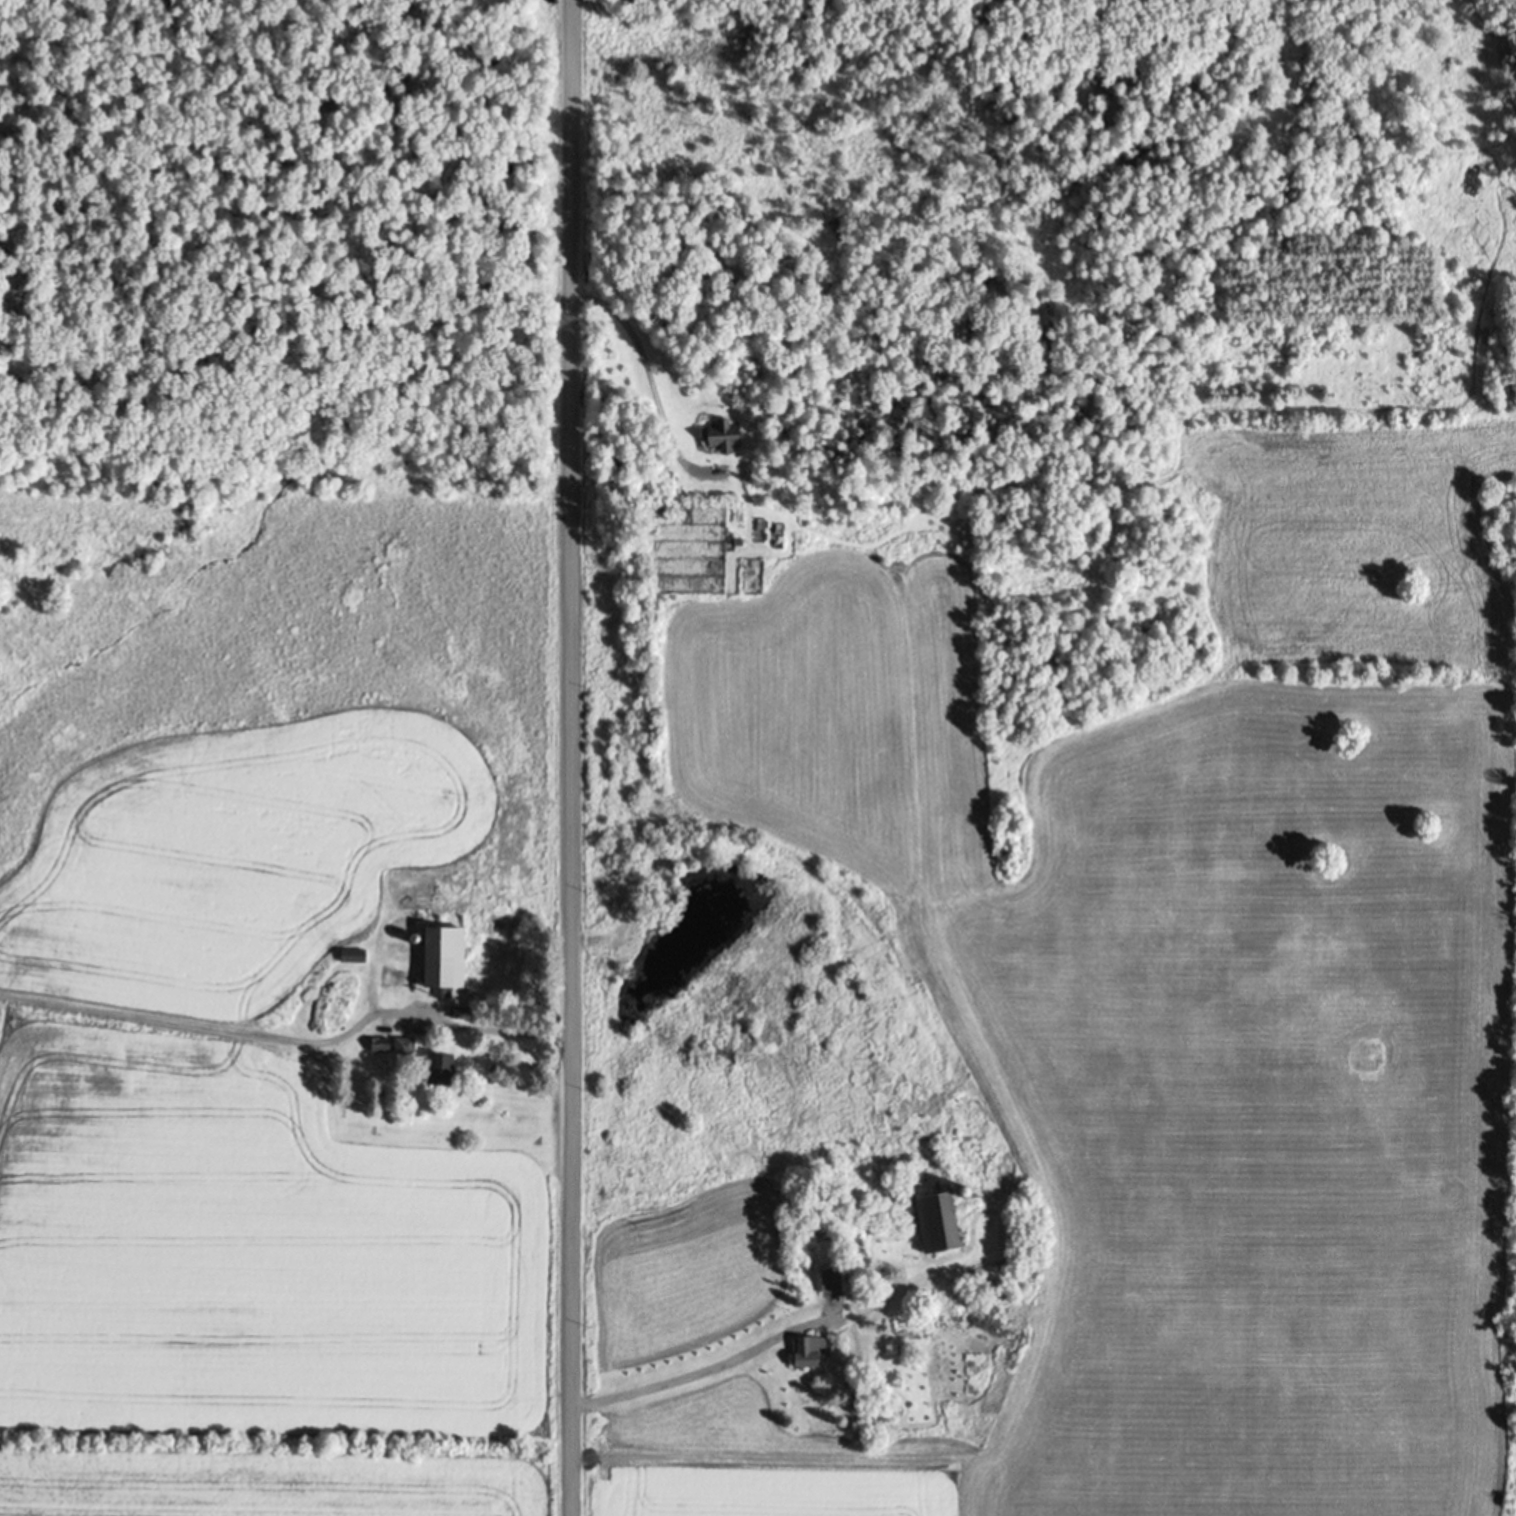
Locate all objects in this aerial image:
road: (570, 757)
building: (440, 961)
building: (387, 1045)
building: (438, 1068)
building: (935, 1218)
building: (828, 1285)
building: (806, 1354)

